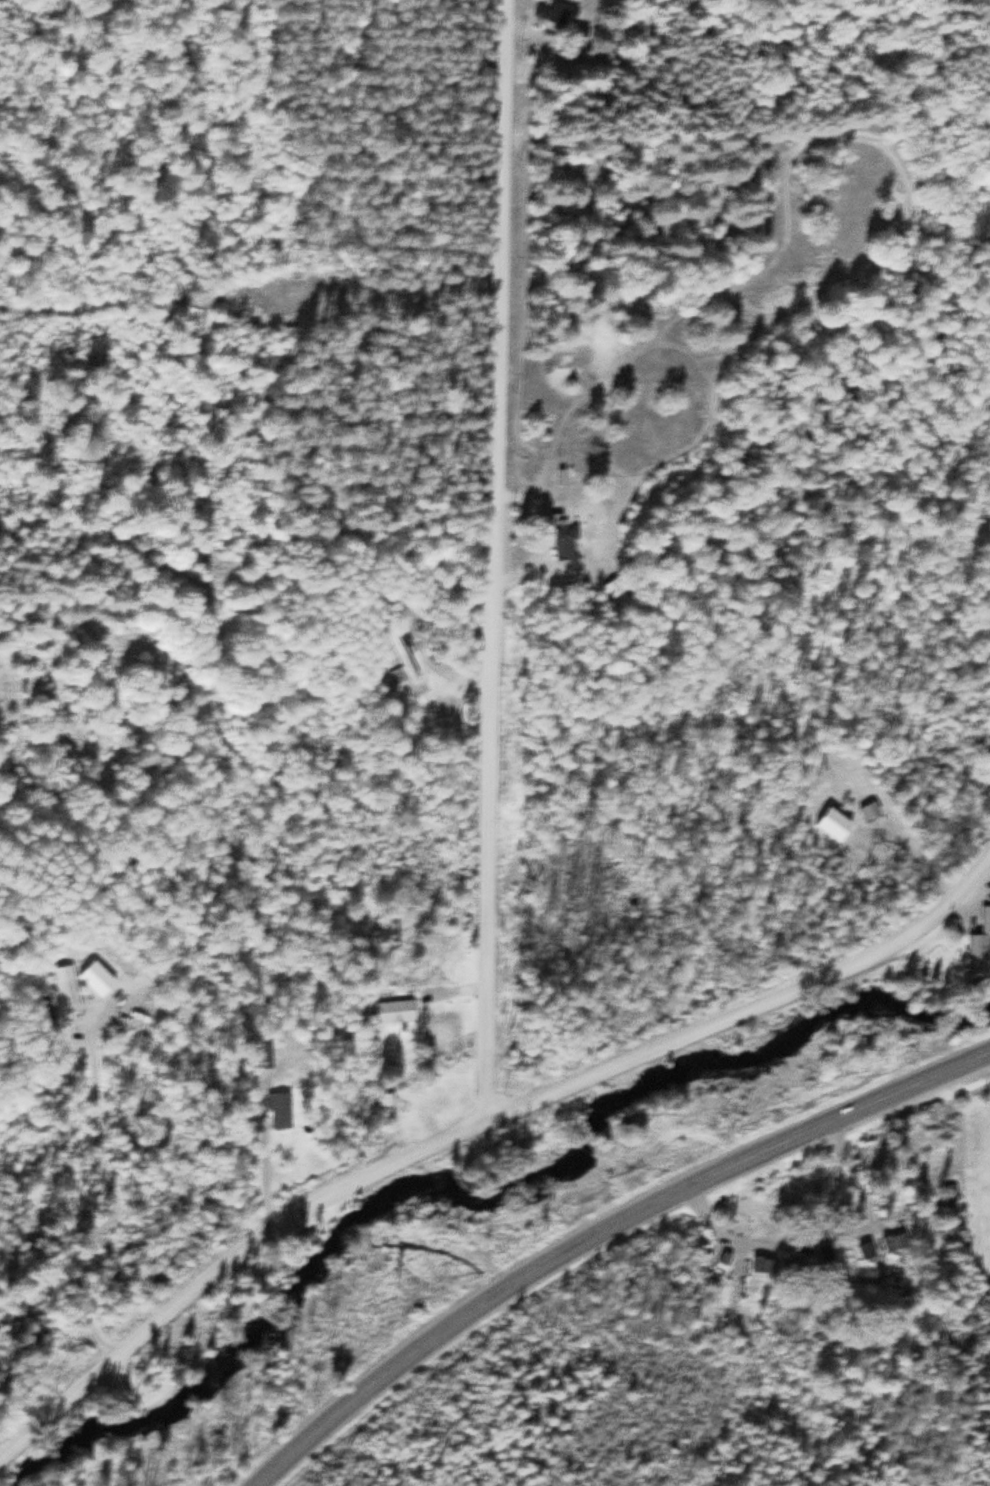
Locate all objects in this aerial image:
building: (555, 13)
building: (566, 546)
road: (490, 559)
building: (614, 586)
building: (401, 659)
building: (867, 810)
building: (979, 946)
building: (66, 991)
road: (450, 991)
building: (394, 1010)
building: (262, 1057)
building: (277, 1108)
road: (473, 1123)
road: (261, 1150)
river: (488, 1193)
building: (930, 1229)
road: (600, 1231)
building: (894, 1241)
building: (824, 1250)
building: (865, 1250)
building: (762, 1264)
building: (798, 1267)

